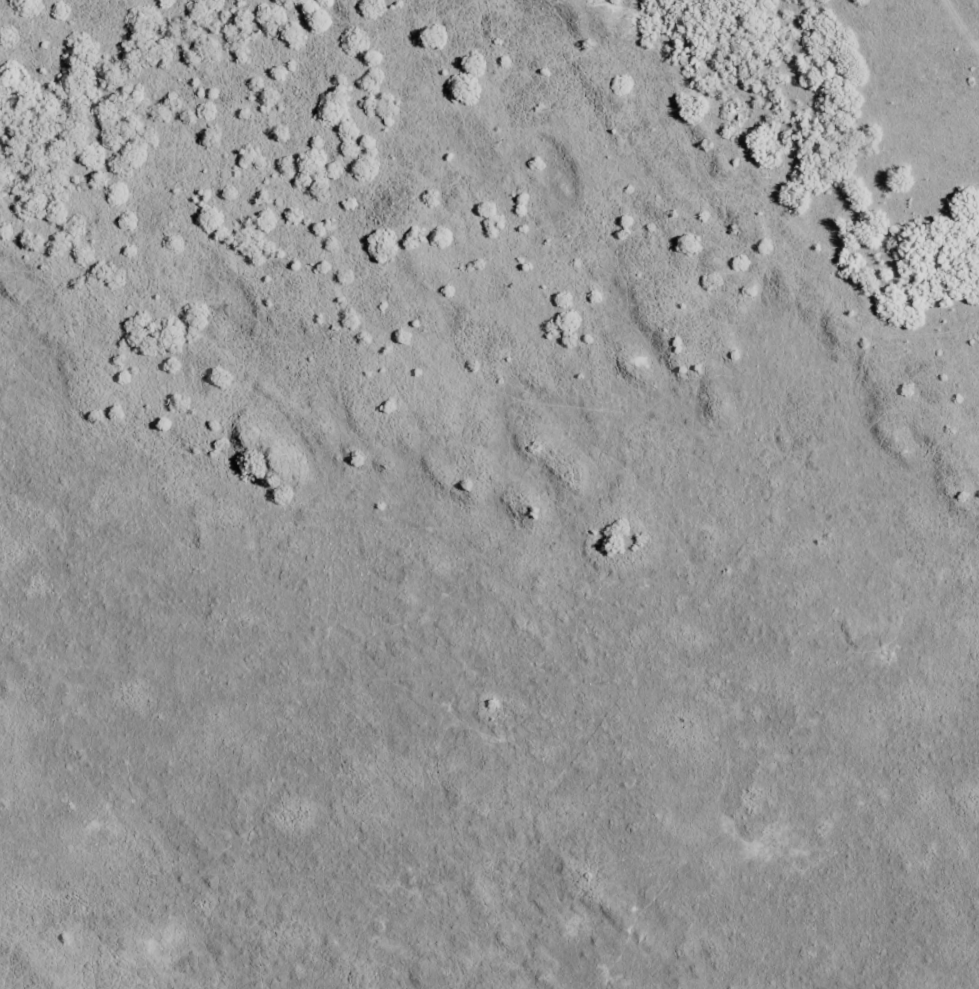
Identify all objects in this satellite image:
road: (914, 46)

